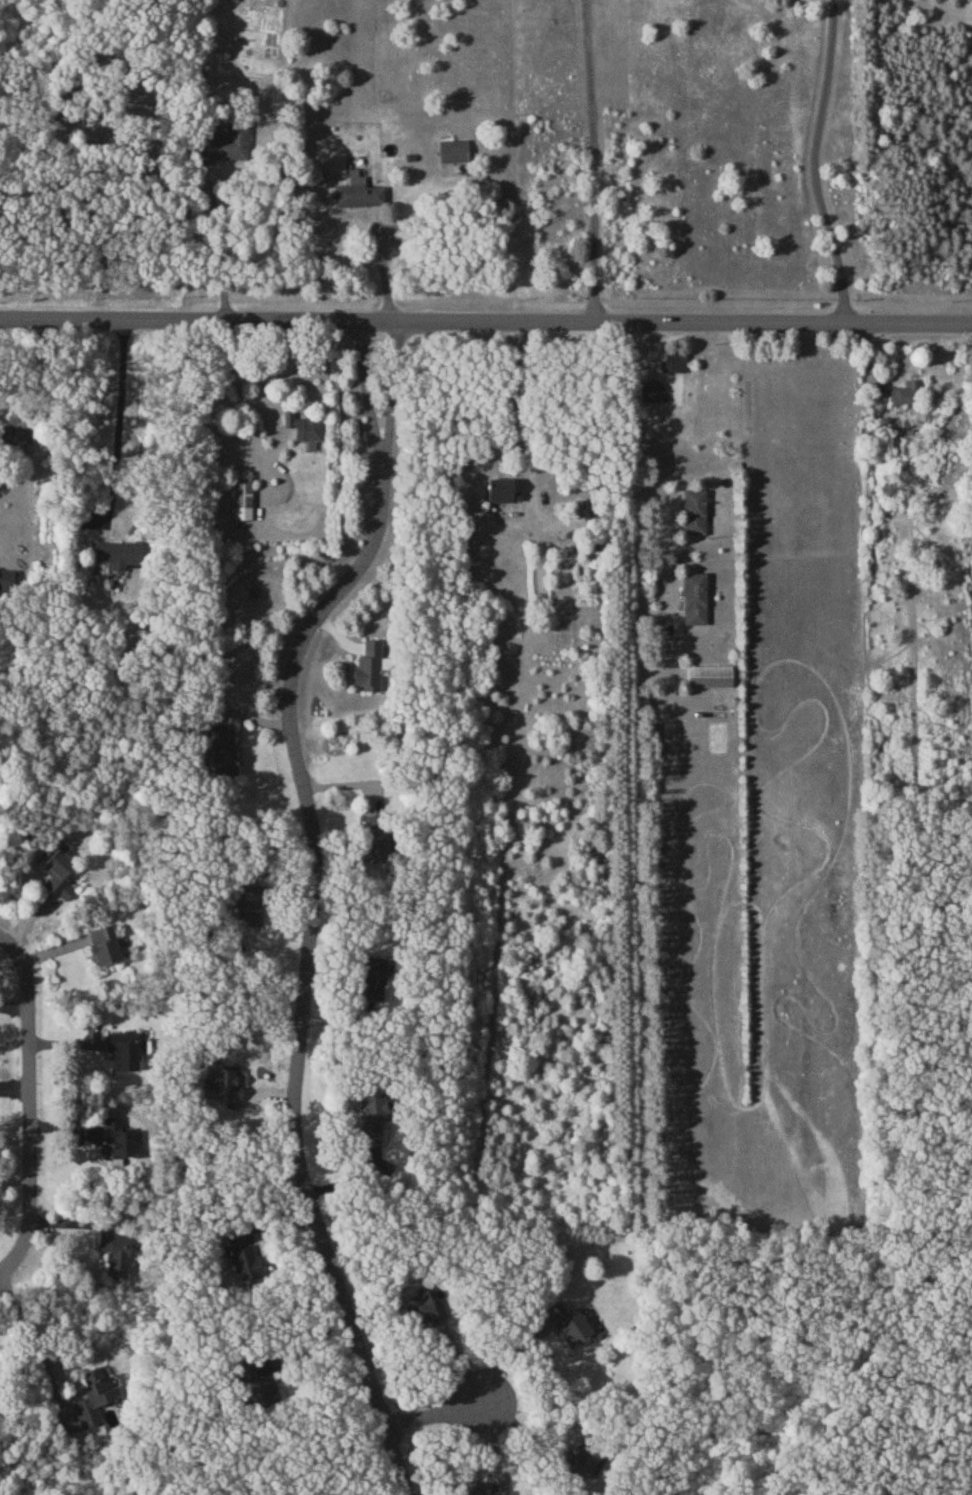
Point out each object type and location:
building: (223, 140)
building: (453, 150)
road: (592, 161)
road: (814, 163)
building: (357, 191)
road: (218, 254)
road: (383, 271)
road: (485, 323)
building: (674, 361)
building: (650, 389)
building: (904, 392)
road: (241, 405)
road: (513, 412)
road: (117, 415)
building: (304, 426)
building: (14, 434)
road: (636, 472)
building: (501, 490)
building: (242, 498)
building: (585, 506)
building: (694, 511)
building: (118, 553)
building: (7, 579)
building: (694, 597)
building: (368, 666)
building: (709, 675)
building: (222, 749)
building: (374, 822)
building: (376, 844)
building: (56, 868)
road: (315, 902)
building: (248, 905)
building: (103, 944)
building: (376, 977)
building: (123, 1050)
building: (227, 1084)
road: (31, 1105)
building: (372, 1113)
building: (119, 1136)
building: (116, 1251)
building: (242, 1256)
building: (421, 1307)
building: (568, 1322)
road: (507, 1356)
building: (253, 1384)
building: (94, 1395)
road: (427, 1407)
road: (514, 1425)
building: (579, 1461)
building: (487, 1487)

